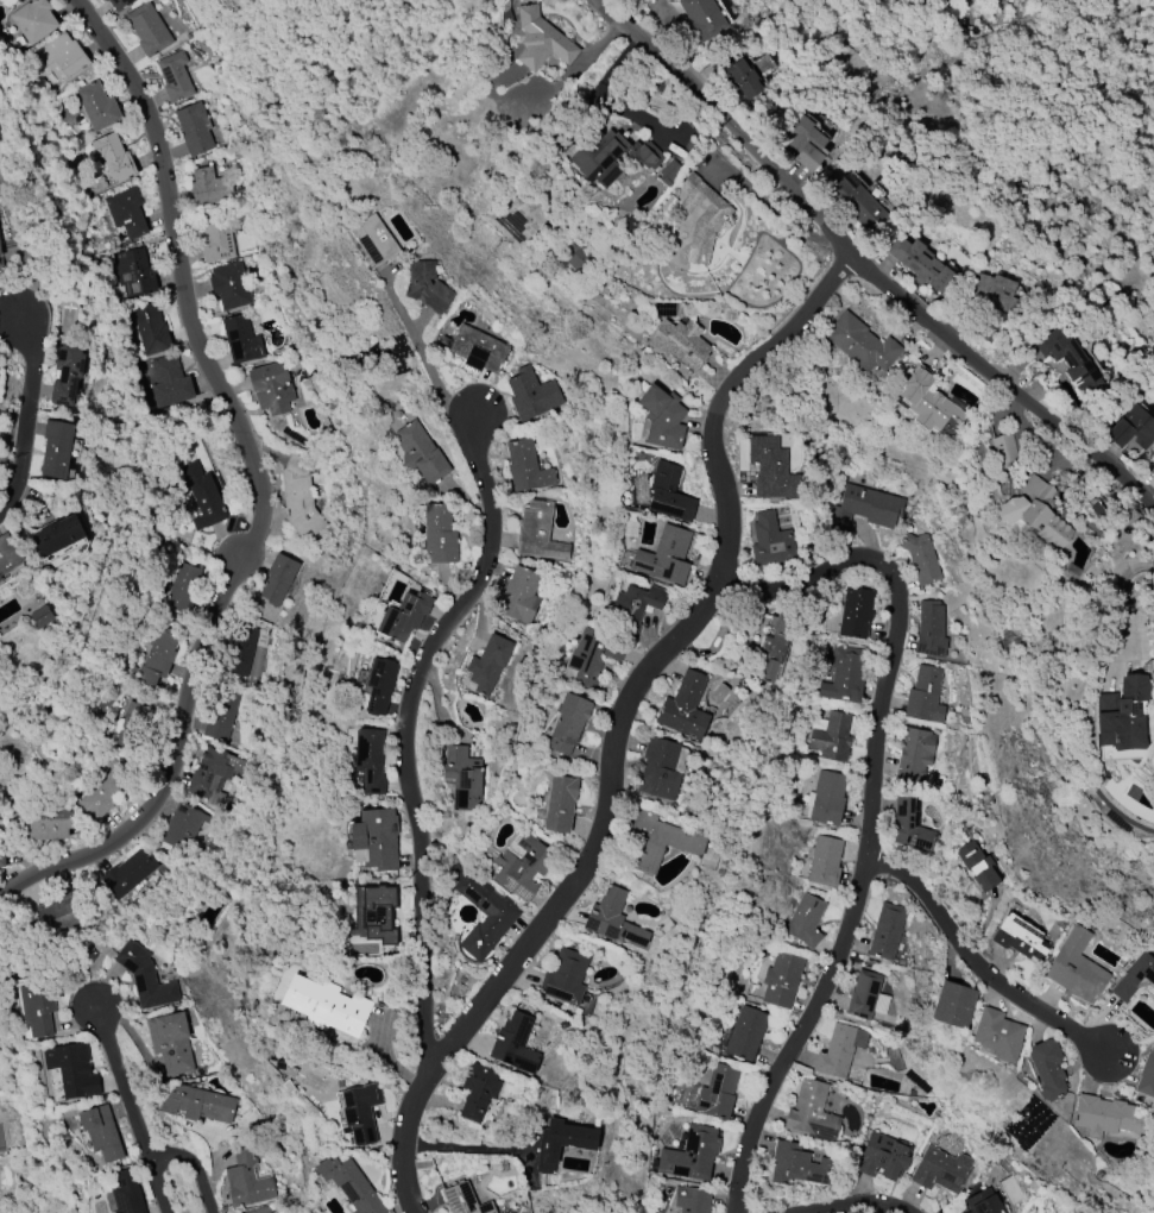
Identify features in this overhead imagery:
building: (119, 4)
building: (33, 20)
building: (701, 20)
building: (147, 30)
building: (541, 40)
building: (59, 58)
building: (737, 75)
building: (175, 76)
road: (568, 76)
road: (607, 102)
building: (97, 107)
building: (194, 130)
building: (805, 143)
building: (610, 156)
building: (114, 158)
building: (668, 172)
building: (209, 187)
building: (858, 205)
road: (771, 208)
building: (126, 213)
building: (0, 216)
building: (702, 216)
building: (215, 239)
building: (373, 240)
road: (25, 250)
building: (578, 258)
building: (920, 264)
road: (864, 265)
building: (133, 274)
building: (229, 287)
building: (427, 287)
building: (995, 293)
building: (151, 328)
building: (241, 340)
building: (681, 342)
building: (860, 345)
building: (478, 350)
building: (1068, 359)
road: (425, 362)
building: (67, 373)
building: (169, 383)
building: (271, 388)
building: (532, 395)
building: (928, 404)
road: (25, 414)
building: (661, 419)
building: (1133, 428)
building: (56, 448)
building: (1003, 451)
building: (421, 453)
building: (526, 466)
building: (771, 470)
building: (1152, 471)
road: (258, 484)
building: (668, 494)
building: (200, 495)
building: (299, 496)
building: (865, 508)
building: (1036, 513)
building: (537, 533)
building: (440, 534)
building: (58, 536)
building: (770, 541)
building: (8, 554)
building: (664, 557)
building: (921, 558)
building: (0, 579)
building: (278, 579)
building: (178, 586)
building: (519, 596)
building: (635, 606)
building: (856, 612)
building: (404, 616)
building: (42, 617)
building: (931, 629)
building: (773, 646)
building: (240, 651)
building: (613, 651)
building: (158, 658)
building: (586, 658)
building: (488, 664)
building: (844, 675)
building: (380, 685)
building: (925, 696)
building: (685, 708)
building: (221, 714)
building: (1123, 715)
road: (618, 721)
building: (568, 723)
building: (128, 724)
road: (403, 733)
building: (832, 737)
building: (914, 754)
building: (370, 760)
building: (658, 769)
building: (213, 775)
building: (462, 778)
building: (102, 792)
building: (826, 798)
building: (561, 804)
road: (869, 813)
building: (46, 825)
building: (910, 825)
building: (183, 827)
building: (376, 840)
building: (657, 841)
building: (1, 859)
building: (825, 861)
building: (522, 866)
building: (978, 866)
building: (127, 874)
building: (481, 911)
building: (379, 915)
building: (62, 916)
building: (613, 918)
building: (805, 920)
building: (887, 931)
building: (1020, 938)
road: (976, 964)
building: (1076, 969)
building: (145, 976)
building: (565, 976)
building: (1134, 976)
building: (781, 980)
building: (864, 995)
building: (953, 1005)
building: (326, 1006)
building: (37, 1008)
building: (745, 1033)
building: (998, 1035)
building: (170, 1042)
building: (515, 1044)
building: (839, 1050)
building: (1048, 1069)
building: (72, 1070)
building: (1147, 1075)
road: (120, 1080)
building: (478, 1092)
building: (718, 1092)
building: (198, 1105)
building: (361, 1112)
building: (811, 1112)
building: (1106, 1117)
building: (251, 1118)
building: (101, 1133)
building: (562, 1143)
building: (690, 1155)
building: (883, 1157)
road: (191, 1167)
building: (799, 1167)
building: (941, 1170)
building: (247, 1179)
road: (155, 1183)
building: (351, 1186)
building: (125, 1194)
building: (464, 1200)
building: (692, 1200)
road: (858, 1202)
building: (983, 1202)

